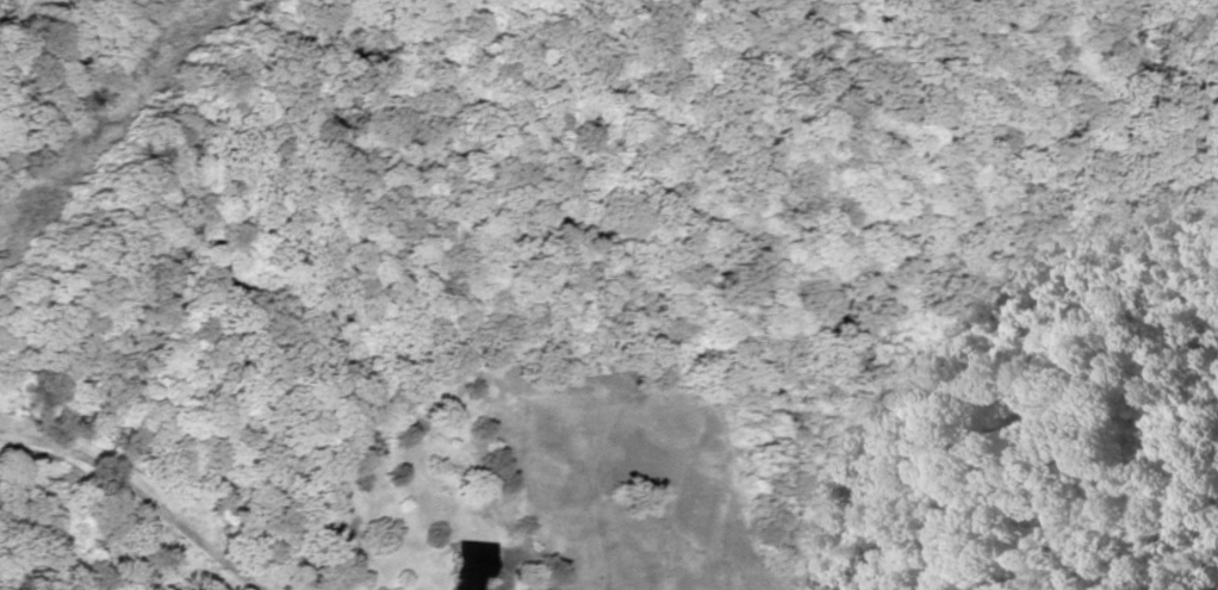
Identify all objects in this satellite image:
building: (468, 564)

